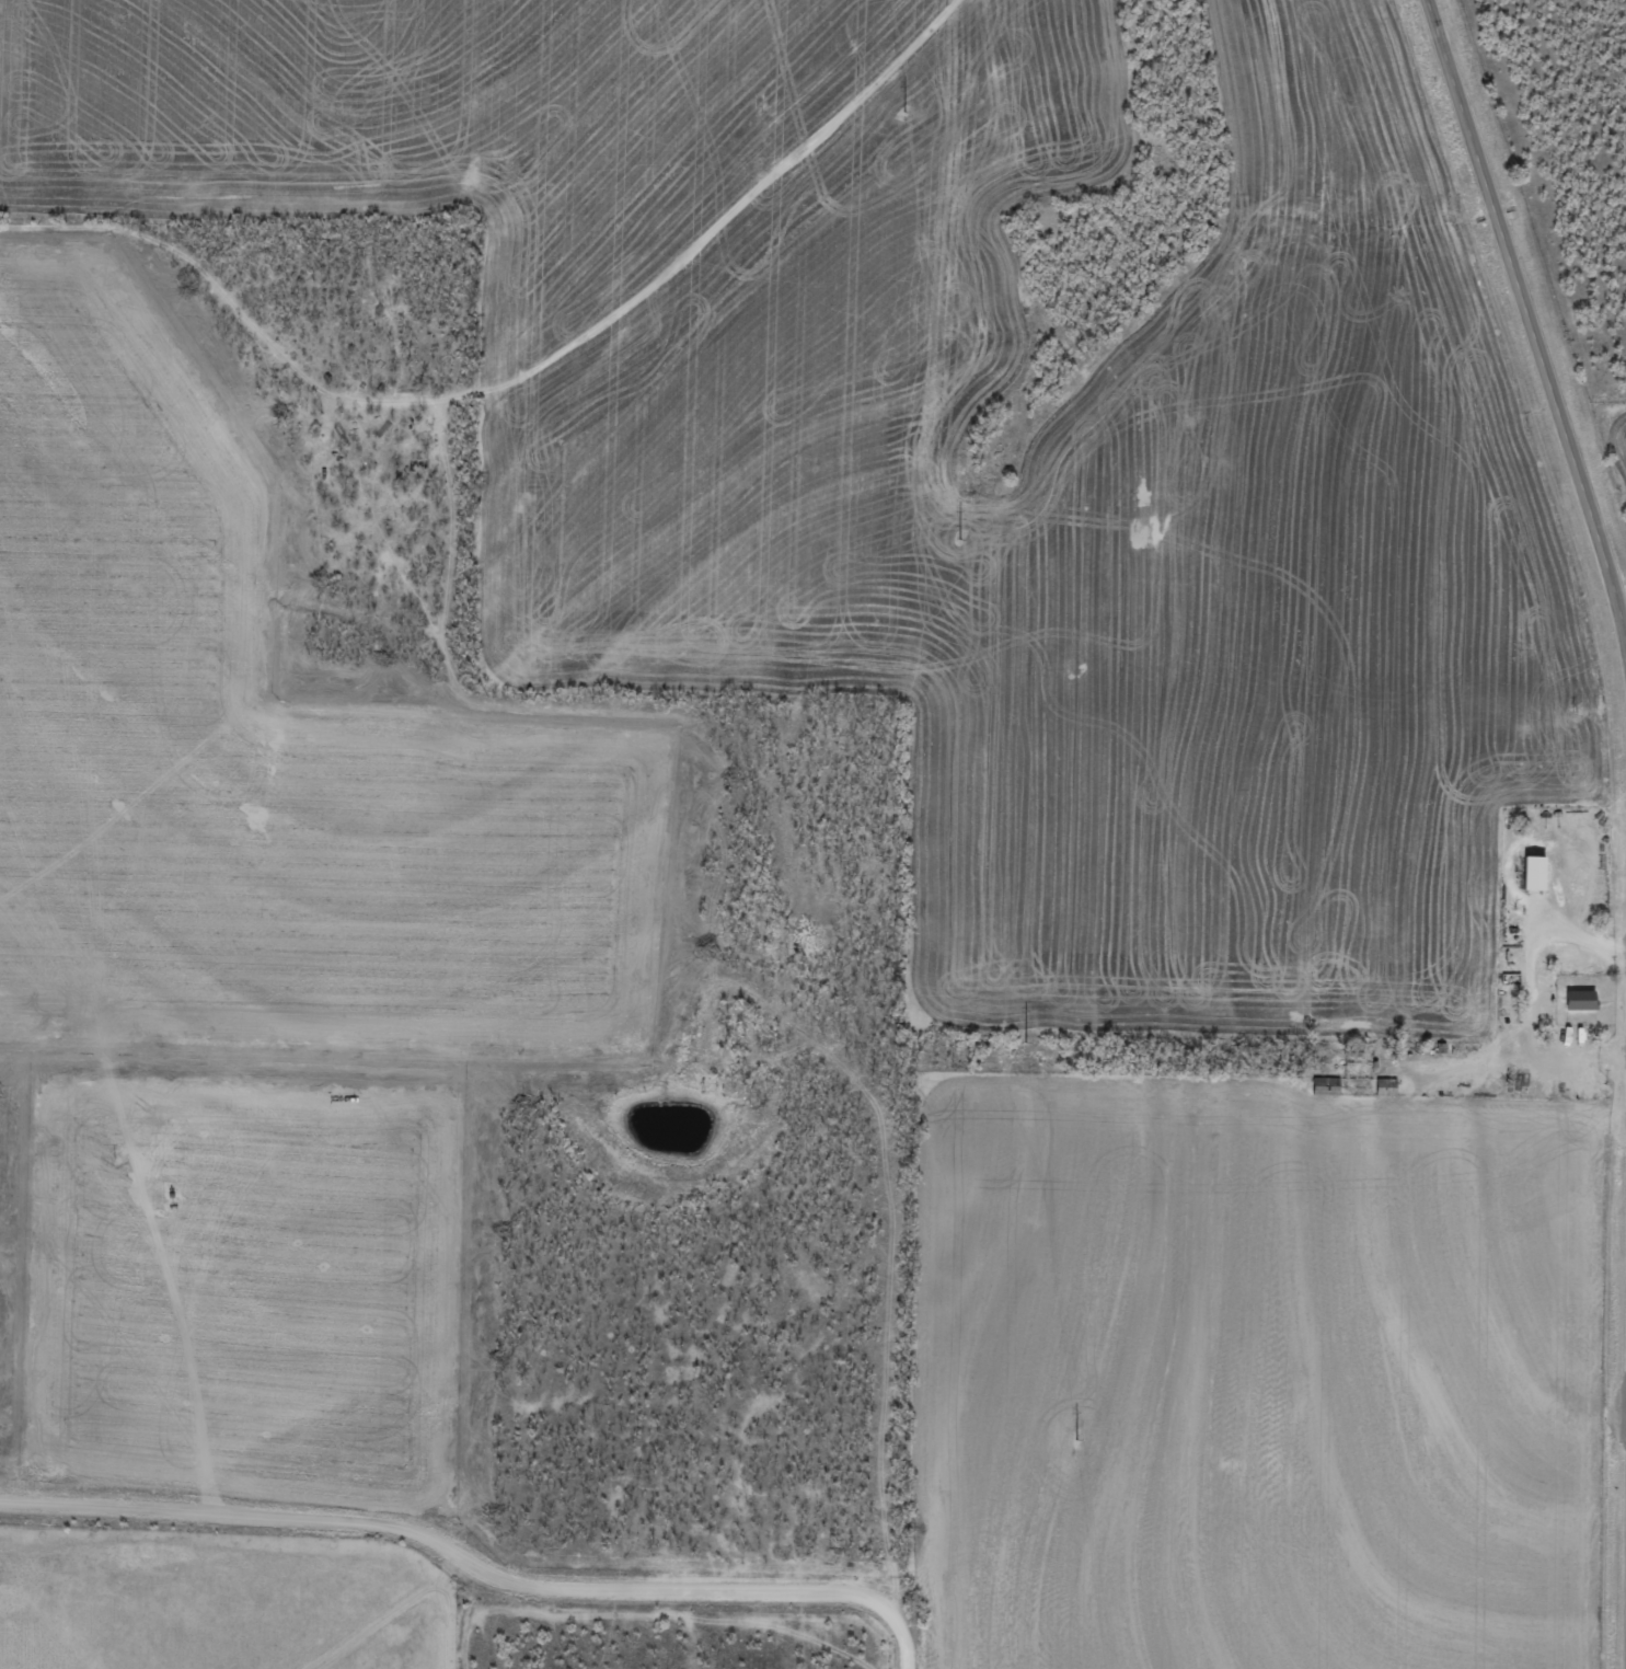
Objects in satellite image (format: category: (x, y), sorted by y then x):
power tower: (903, 108)
road: (1527, 320)
power tower: (961, 539)
building: (1538, 872)
building: (1587, 999)
power tower: (1026, 1044)
power tower: (1077, 1440)
road: (472, 1566)

